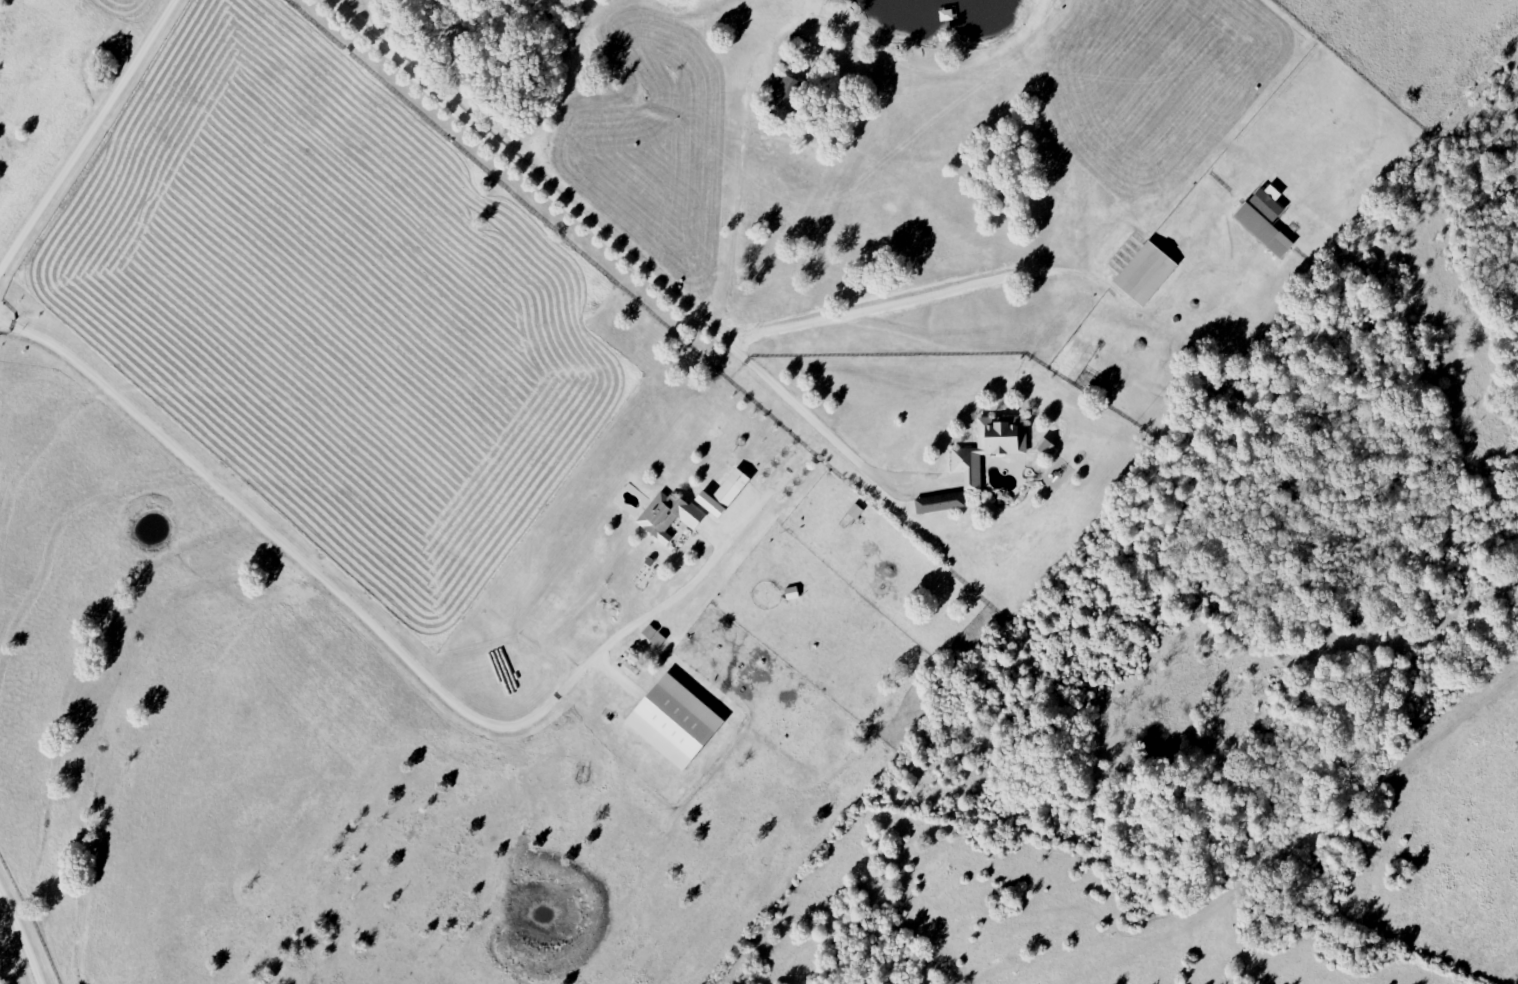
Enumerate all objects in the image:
building: (788, 93)
road: (86, 138)
building: (1269, 203)
building: (1264, 230)
building: (1146, 274)
building: (990, 447)
building: (724, 494)
building: (941, 504)
building: (668, 516)
building: (675, 722)
road: (24, 934)

